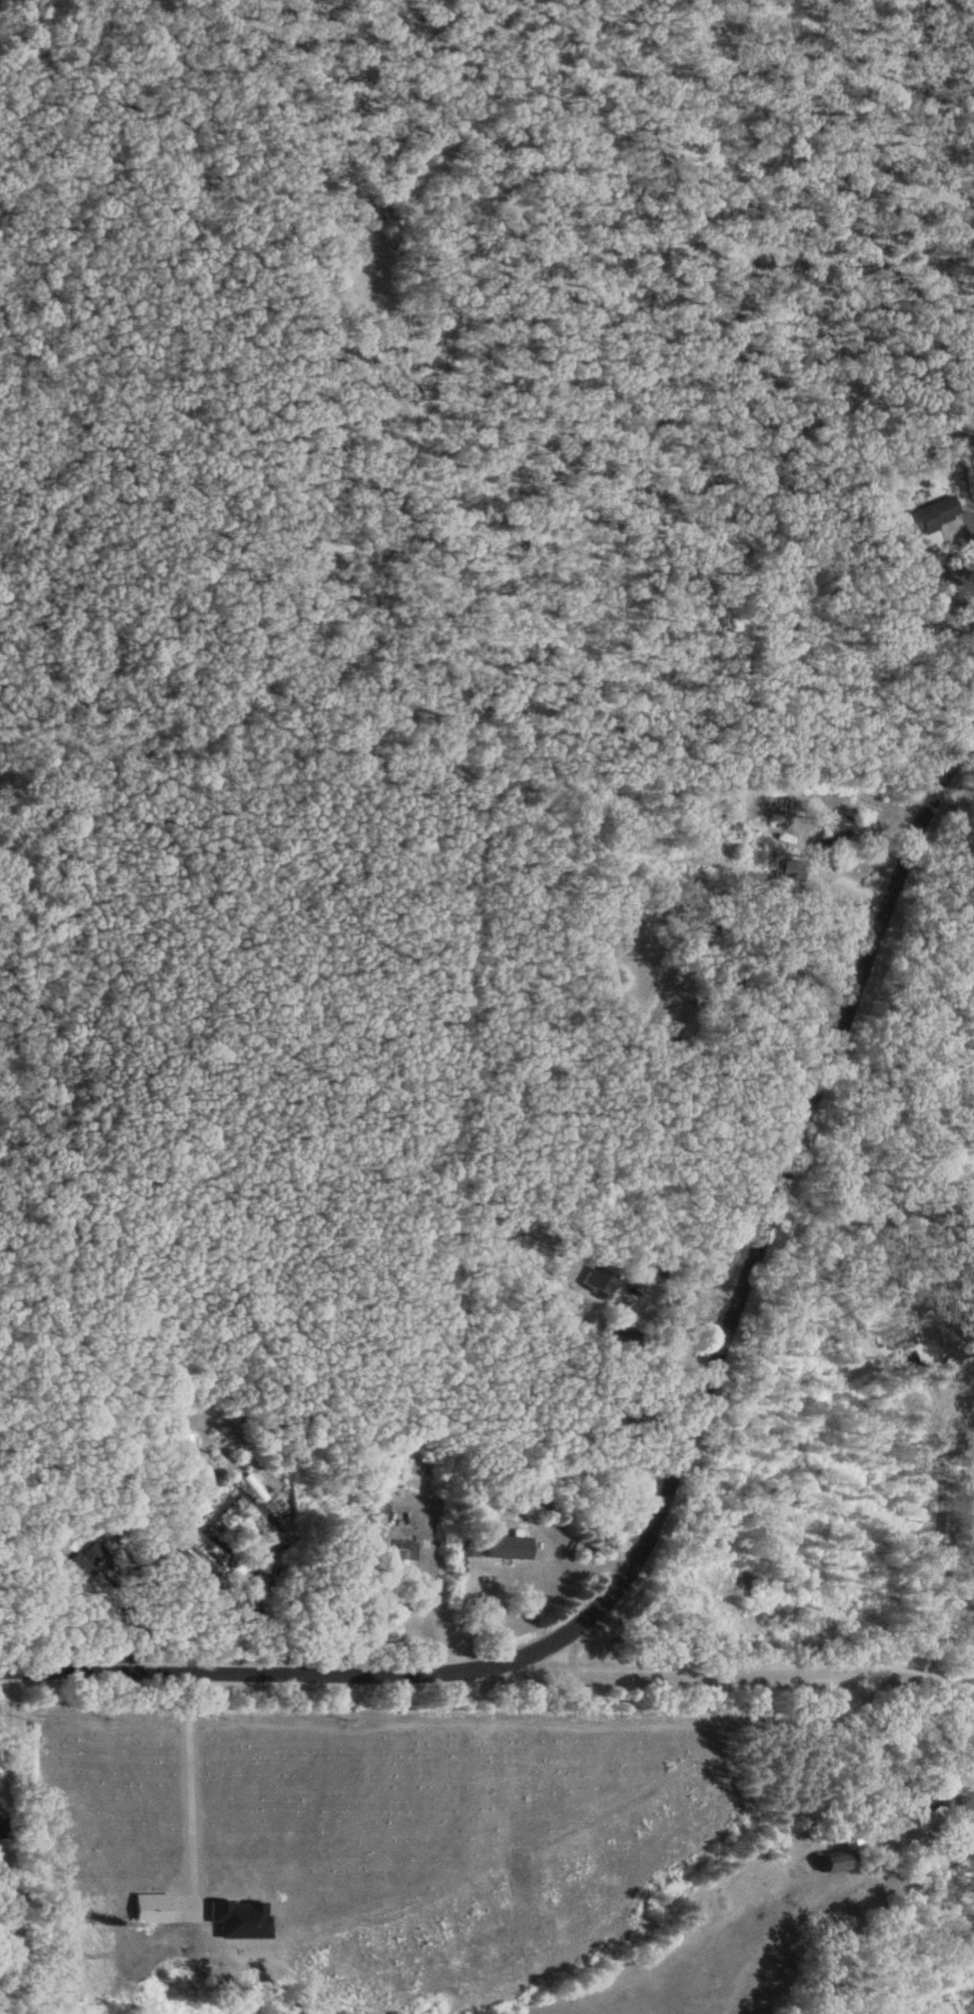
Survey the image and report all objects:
building: (929, 514)
road: (950, 587)
building: (833, 828)
building: (787, 868)
road: (894, 1223)
building: (660, 1271)
building: (599, 1281)
road: (678, 1307)
building: (898, 1338)
building: (621, 1415)
road: (677, 1457)
road: (947, 1512)
building: (465, 1547)
building: (95, 1551)
building: (406, 1551)
building: (79, 1568)
building: (502, 1569)
building: (347, 1615)
road: (191, 1618)
road: (128, 1623)
road: (165, 1634)
road: (701, 1676)
road: (957, 1698)
road: (4, 1736)
road: (191, 1776)
building: (937, 1792)
road: (937, 1857)
building: (839, 1861)
building: (9, 1926)
building: (5, 1961)

